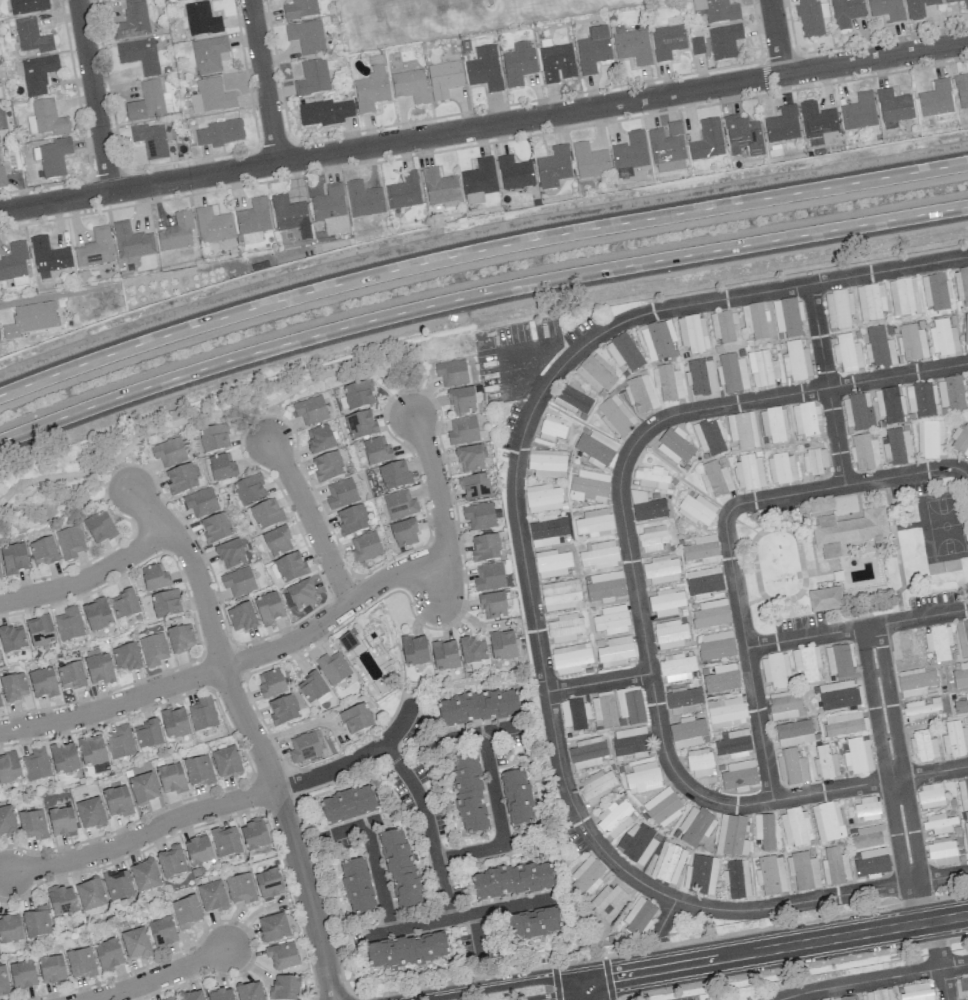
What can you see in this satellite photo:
building: (27, 6)
building: (965, 6)
building: (917, 8)
building: (299, 9)
building: (886, 9)
building: (716, 10)
building: (845, 12)
building: (811, 18)
building: (201, 19)
building: (132, 20)
building: (31, 36)
building: (306, 37)
road: (775, 38)
building: (667, 41)
building: (724, 41)
building: (697, 45)
building: (632, 47)
building: (593, 49)
building: (139, 54)
building: (208, 54)
building: (518, 63)
building: (557, 63)
building: (484, 68)
building: (37, 74)
building: (312, 78)
building: (444, 78)
road: (264, 81)
building: (410, 85)
building: (371, 89)
building: (962, 90)
road: (95, 96)
building: (211, 97)
building: (936, 99)
building: (149, 102)
building: (894, 106)
building: (324, 112)
building: (859, 112)
building: (45, 118)
building: (817, 120)
building: (782, 125)
road: (483, 126)
building: (220, 132)
building: (743, 135)
building: (150, 140)
building: (707, 140)
building: (667, 148)
building: (630, 153)
building: (54, 157)
building: (590, 161)
building: (553, 167)
building: (514, 173)
building: (2, 177)
building: (478, 180)
building: (439, 187)
building: (404, 192)
building: (363, 199)
building: (331, 209)
building: (290, 216)
building: (253, 221)
building: (212, 225)
building: (176, 232)
building: (132, 241)
building: (95, 248)
road: (477, 252)
building: (48, 257)
building: (15, 264)
road: (888, 269)
building: (961, 284)
building: (935, 291)
road: (476, 296)
building: (903, 297)
building: (870, 302)
building: (839, 309)
building: (786, 317)
building: (31, 319)
building: (755, 319)
building: (723, 325)
building: (966, 332)
building: (692, 333)
building: (943, 338)
building: (658, 340)
building: (912, 342)
building: (878, 347)
building: (623, 352)
building: (847, 353)
building: (796, 361)
building: (762, 368)
building: (451, 372)
building: (733, 373)
building: (595, 374)
building: (700, 377)
building: (667, 382)
road: (827, 383)
building: (950, 393)
building: (358, 395)
building: (641, 395)
building: (921, 399)
building: (461, 401)
building: (889, 405)
building: (310, 410)
building: (858, 412)
road: (212, 413)
building: (615, 416)
building: (806, 419)
road: (257, 423)
park: (201, 425)
building: (361, 425)
building: (551, 428)
building: (742, 430)
building: (463, 431)
building: (214, 438)
building: (710, 438)
building: (319, 439)
building: (930, 439)
building: (960, 440)
building: (675, 446)
building: (897, 447)
building: (595, 449)
building: (376, 450)
building: (168, 452)
building: (864, 452)
building: (469, 459)
building: (814, 462)
building: (547, 463)
building: (221, 467)
building: (328, 467)
building: (781, 468)
building: (749, 472)
road: (121, 475)
building: (394, 475)
building: (651, 477)
building: (181, 479)
building: (715, 479)
building: (589, 486)
building: (474, 487)
building: (250, 490)
building: (341, 493)
building: (542, 498)
building: (200, 502)
building: (399, 505)
road: (440, 505)
building: (647, 507)
building: (696, 510)
building: (266, 515)
building: (479, 516)
road: (311, 517)
building: (352, 520)
building: (594, 523)
park: (944, 523)
building: (99, 527)
building: (215, 528)
building: (547, 530)
building: (848, 530)
building: (404, 533)
road: (725, 533)
building: (652, 538)
building: (277, 541)
building: (70, 542)
building: (365, 547)
building: (485, 548)
building: (701, 550)
building: (43, 552)
building: (230, 554)
building: (598, 555)
building: (13, 559)
building: (551, 563)
building: (290, 567)
building: (662, 570)
building: (0, 577)
building: (154, 577)
building: (489, 577)
road: (88, 578)
building: (237, 581)
building: (704, 581)
building: (604, 587)
road: (635, 588)
building: (302, 594)
building: (560, 595)
building: (824, 599)
building: (665, 602)
building: (124, 604)
building: (166, 604)
building: (493, 605)
building: (268, 608)
building: (710, 614)
building: (96, 615)
building: (241, 617)
building: (611, 620)
building: (68, 624)
building: (563, 627)
road: (856, 627)
building: (39, 631)
building: (670, 634)
building: (962, 637)
building: (12, 638)
building: (181, 638)
road: (537, 640)
building: (938, 642)
building: (502, 645)
building: (716, 645)
building: (903, 647)
building: (153, 649)
building: (414, 651)
building: (472, 651)
building: (615, 651)
building: (444, 656)
building: (126, 658)
building: (570, 658)
building: (839, 660)
road: (230, 663)
building: (806, 663)
building: (676, 667)
building: (333, 668)
building: (99, 669)
building: (775, 670)
building: (961, 675)
building: (70, 676)
building: (722, 679)
building: (915, 681)
building: (43, 683)
building: (270, 683)
road: (598, 683)
building: (14, 687)
building: (312, 687)
building: (839, 695)
building: (682, 701)
building: (961, 704)
building: (630, 705)
building: (785, 705)
building: (478, 707)
building: (603, 709)
building: (922, 709)
building: (283, 710)
building: (726, 712)
building: (202, 714)
building: (575, 714)
building: (356, 719)
building: (174, 723)
building: (844, 724)
road: (482, 731)
building: (687, 732)
building: (794, 733)
building: (147, 734)
road: (251, 734)
building: (955, 739)
building: (120, 742)
building: (631, 742)
building: (733, 744)
building: (923, 745)
building: (304, 746)
building: (91, 751)
building: (587, 752)
road: (899, 753)
building: (857, 755)
road: (882, 756)
building: (64, 758)
road: (353, 759)
building: (226, 762)
building: (824, 763)
building: (36, 764)
building: (699, 764)
building: (791, 767)
building: (9, 768)
building: (198, 771)
building: (739, 775)
building: (170, 778)
building: (642, 778)
building: (596, 786)
building: (143, 788)
building: (966, 788)
building: (468, 793)
building: (930, 795)
building: (962, 796)
building: (516, 798)
building: (117, 801)
building: (347, 805)
building: (663, 807)
building: (866, 808)
building: (90, 813)
building: (614, 817)
building: (7, 821)
road: (498, 821)
building: (827, 821)
building: (61, 822)
building: (938, 824)
building: (32, 825)
road: (354, 825)
road: (428, 825)
building: (696, 826)
building: (794, 826)
building: (763, 831)
road: (142, 833)
building: (966, 833)
building: (254, 834)
building: (731, 836)
building: (868, 836)
building: (225, 841)
building: (637, 843)
building: (198, 850)
building: (941, 852)
building: (171, 862)
building: (668, 863)
building: (873, 863)
building: (834, 866)
building: (400, 869)
building: (803, 871)
building: (700, 874)
building: (145, 875)
building: (586, 875)
building: (770, 875)
road: (377, 876)
road: (941, 877)
building: (736, 878)
building: (512, 880)
building: (269, 884)
building: (117, 885)
building: (357, 886)
building: (240, 889)
building: (90, 895)
building: (212, 896)
building: (61, 900)
building: (608, 902)
road: (917, 902)
building: (186, 912)
road: (458, 916)
building: (639, 916)
building: (36, 922)
building: (530, 924)
building: (273, 927)
building: (10, 928)
building: (162, 933)
road: (477, 937)
building: (135, 943)
road: (937, 944)
road: (770, 949)
building: (406, 950)
building: (108, 955)
building: (282, 956)
building: (80, 963)
road: (954, 965)
building: (51, 969)
building: (22, 974)
road: (160, 975)
building: (3, 980)
road: (860, 982)
road: (943, 984)
building: (963, 986)
building: (285, 988)
road: (501, 988)
road: (594, 990)
building: (249, 991)
road: (573, 991)
building: (915, 992)
building: (220, 994)
building: (879, 994)
building: (191, 995)
road: (549, 995)
building: (848, 998)
building: (170, 999)

